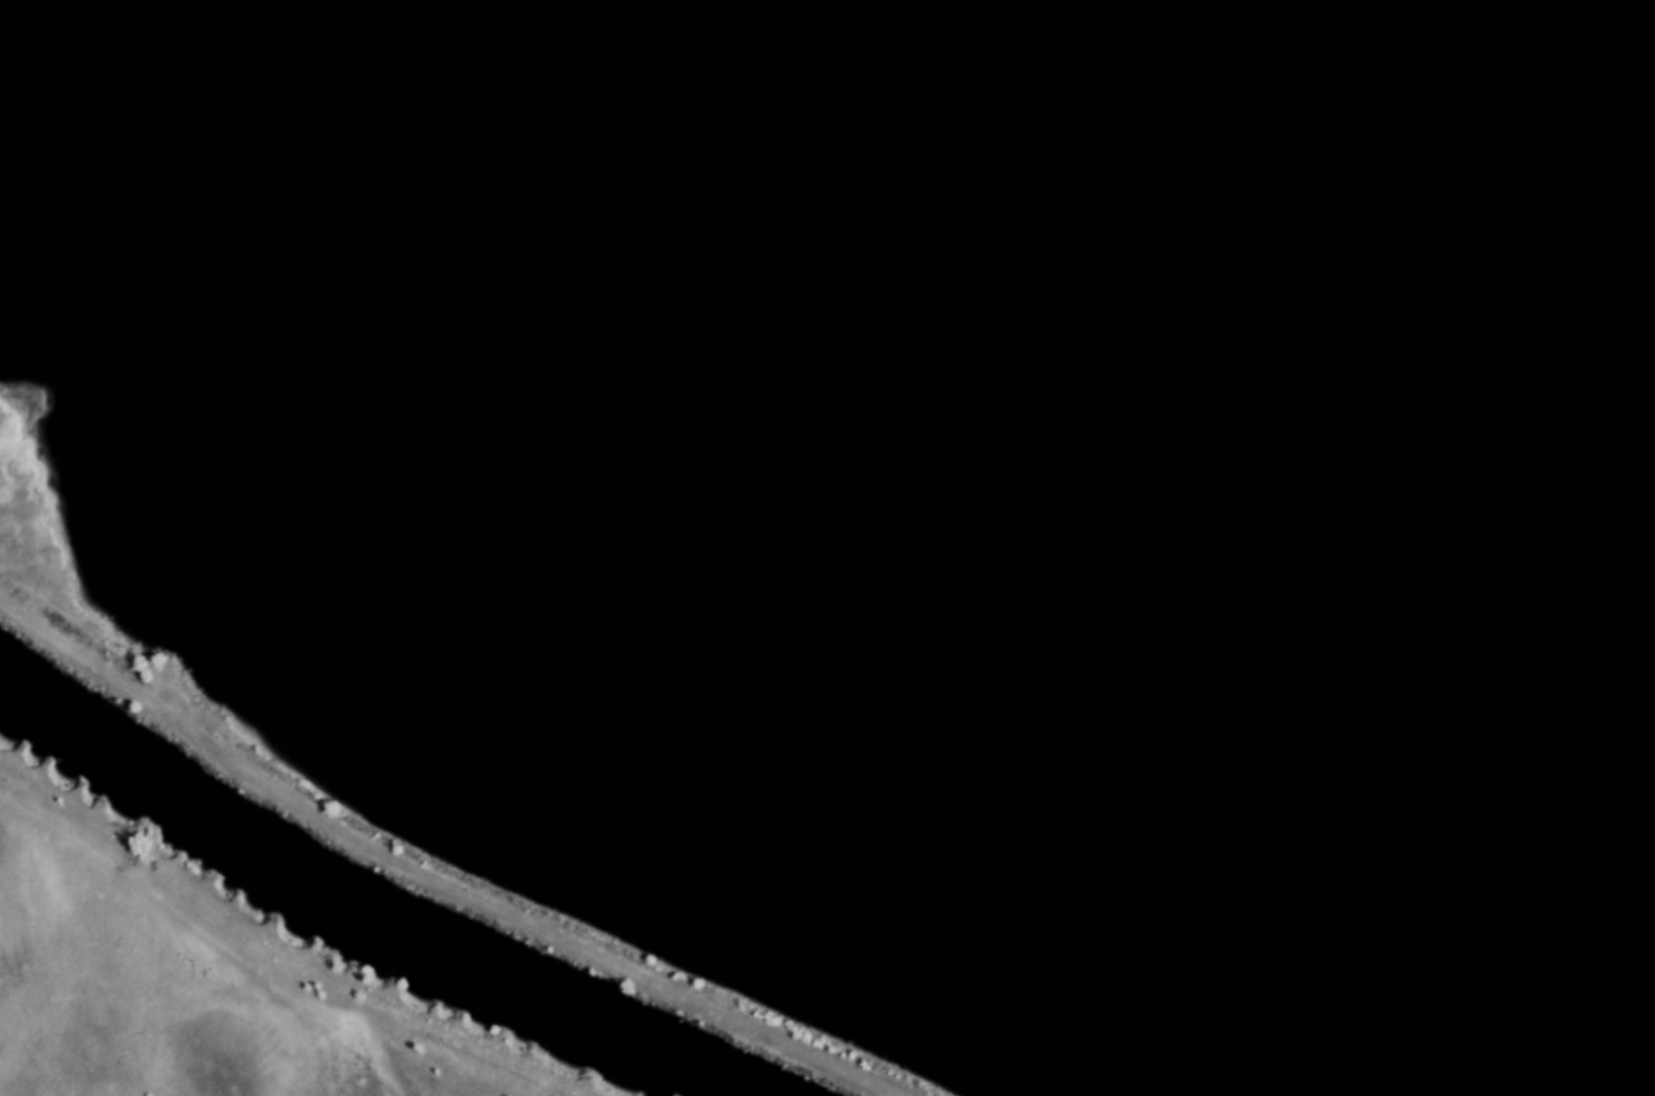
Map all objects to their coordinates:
road: (420, 882)

